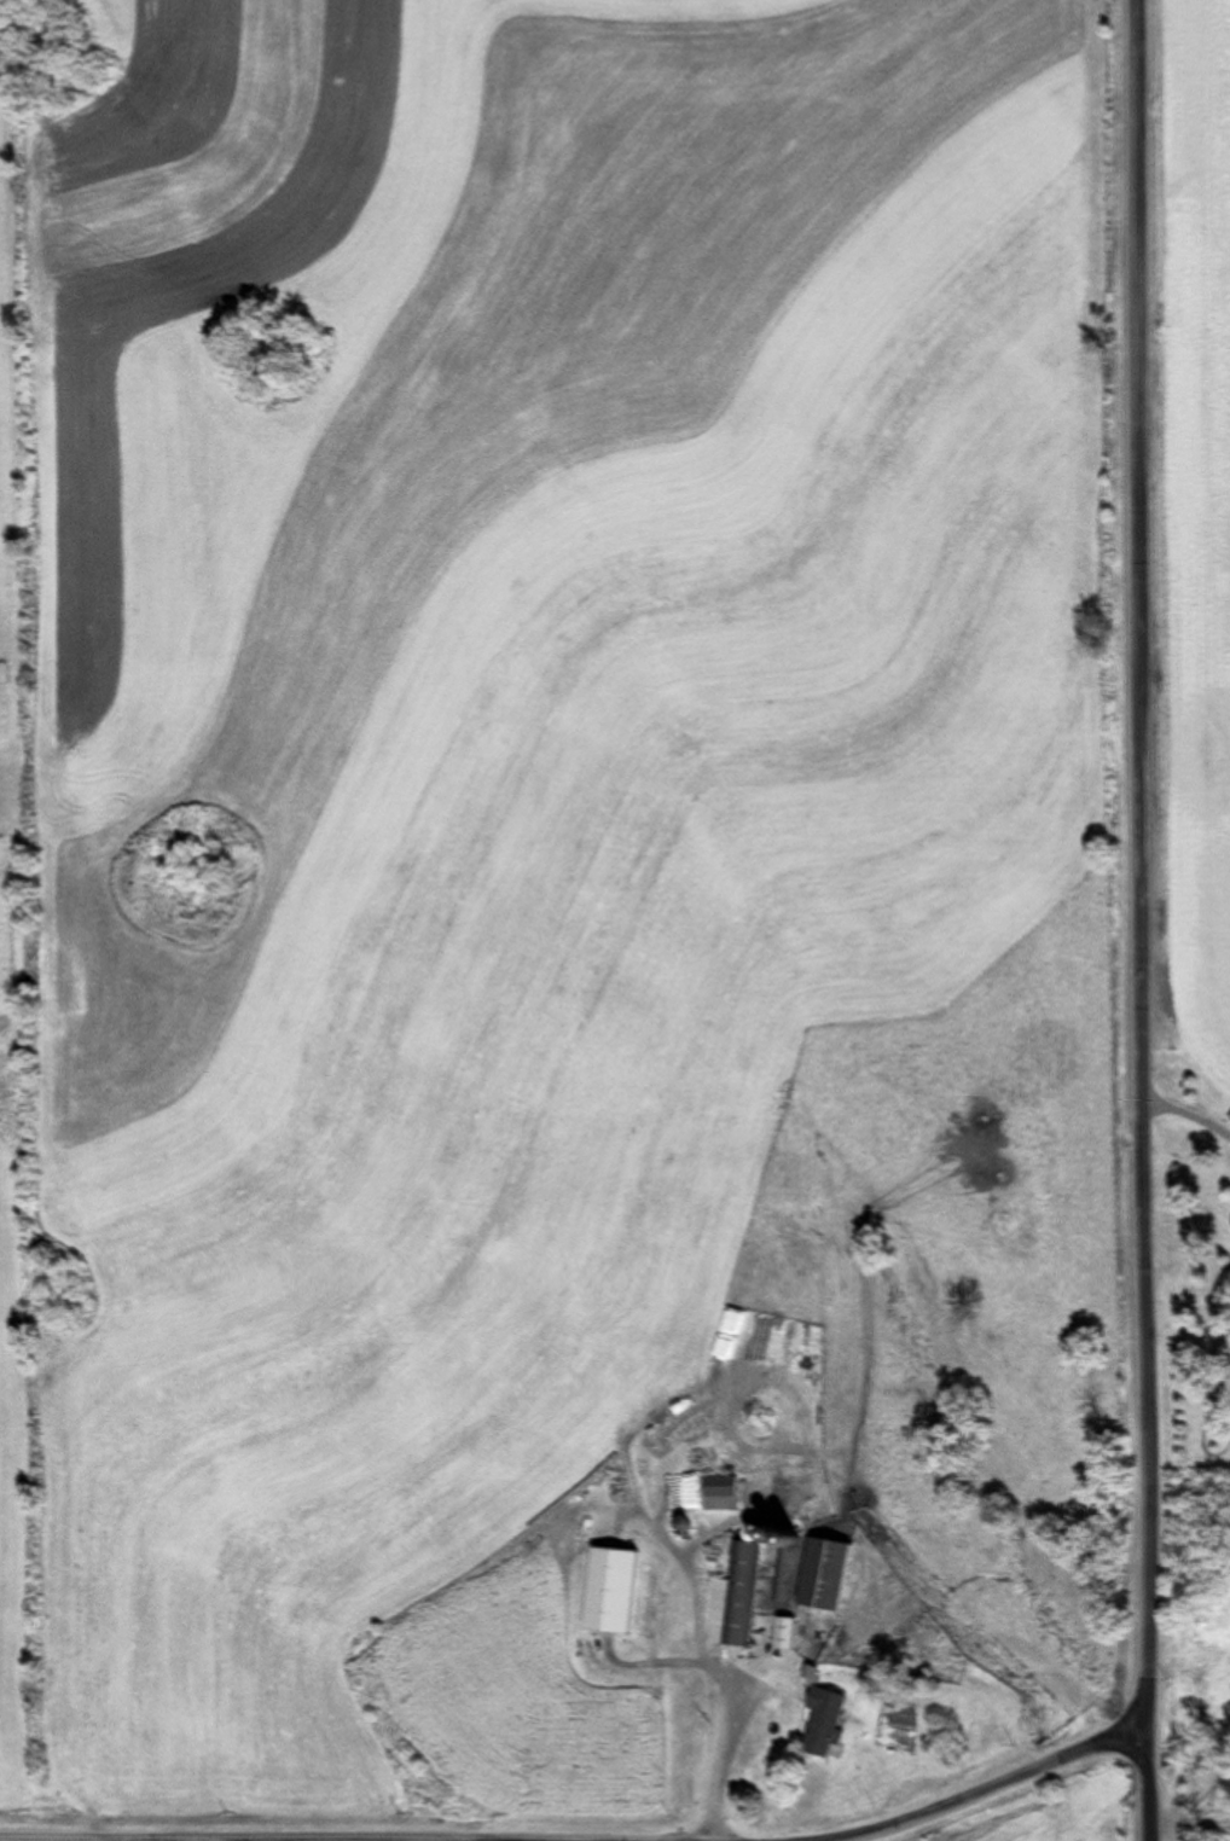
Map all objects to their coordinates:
road: (1109, 919)
building: (724, 1493)
building: (832, 1575)
building: (616, 1591)
building: (743, 1595)
building: (789, 1634)
building: (834, 1723)
road: (564, 1781)

